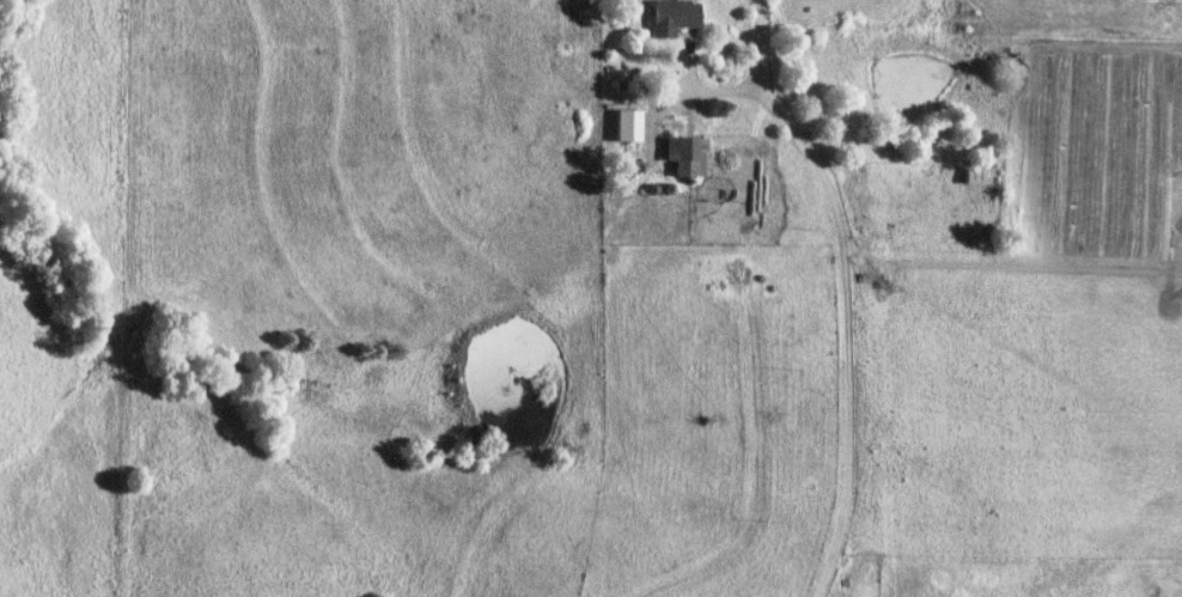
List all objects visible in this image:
building: (668, 18)
building: (622, 127)
building: (682, 158)
road: (842, 290)

